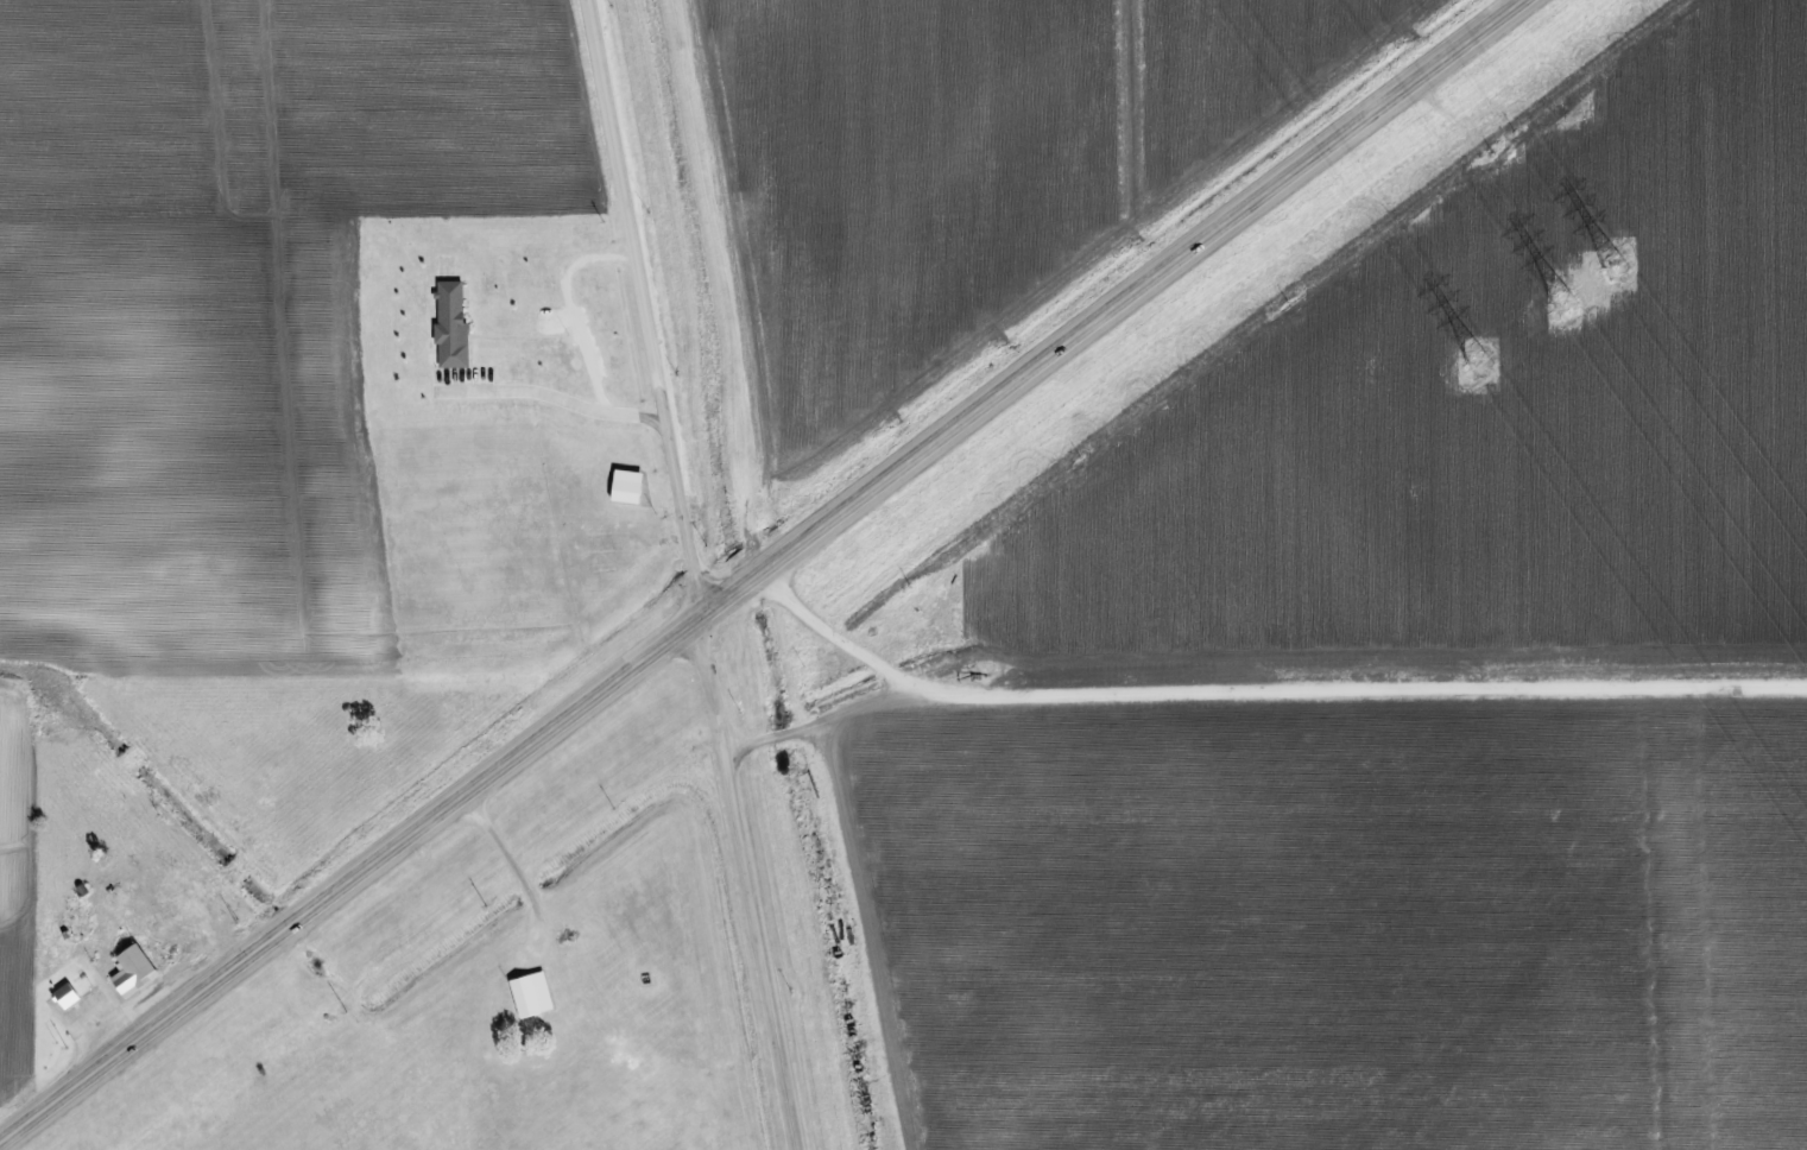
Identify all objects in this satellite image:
power tower: (1620, 268)
power tower: (1566, 307)
building: (454, 318)
power tower: (1480, 368)
building: (630, 488)
road: (754, 551)
road: (705, 574)
building: (135, 972)
building: (63, 992)
building: (535, 997)

